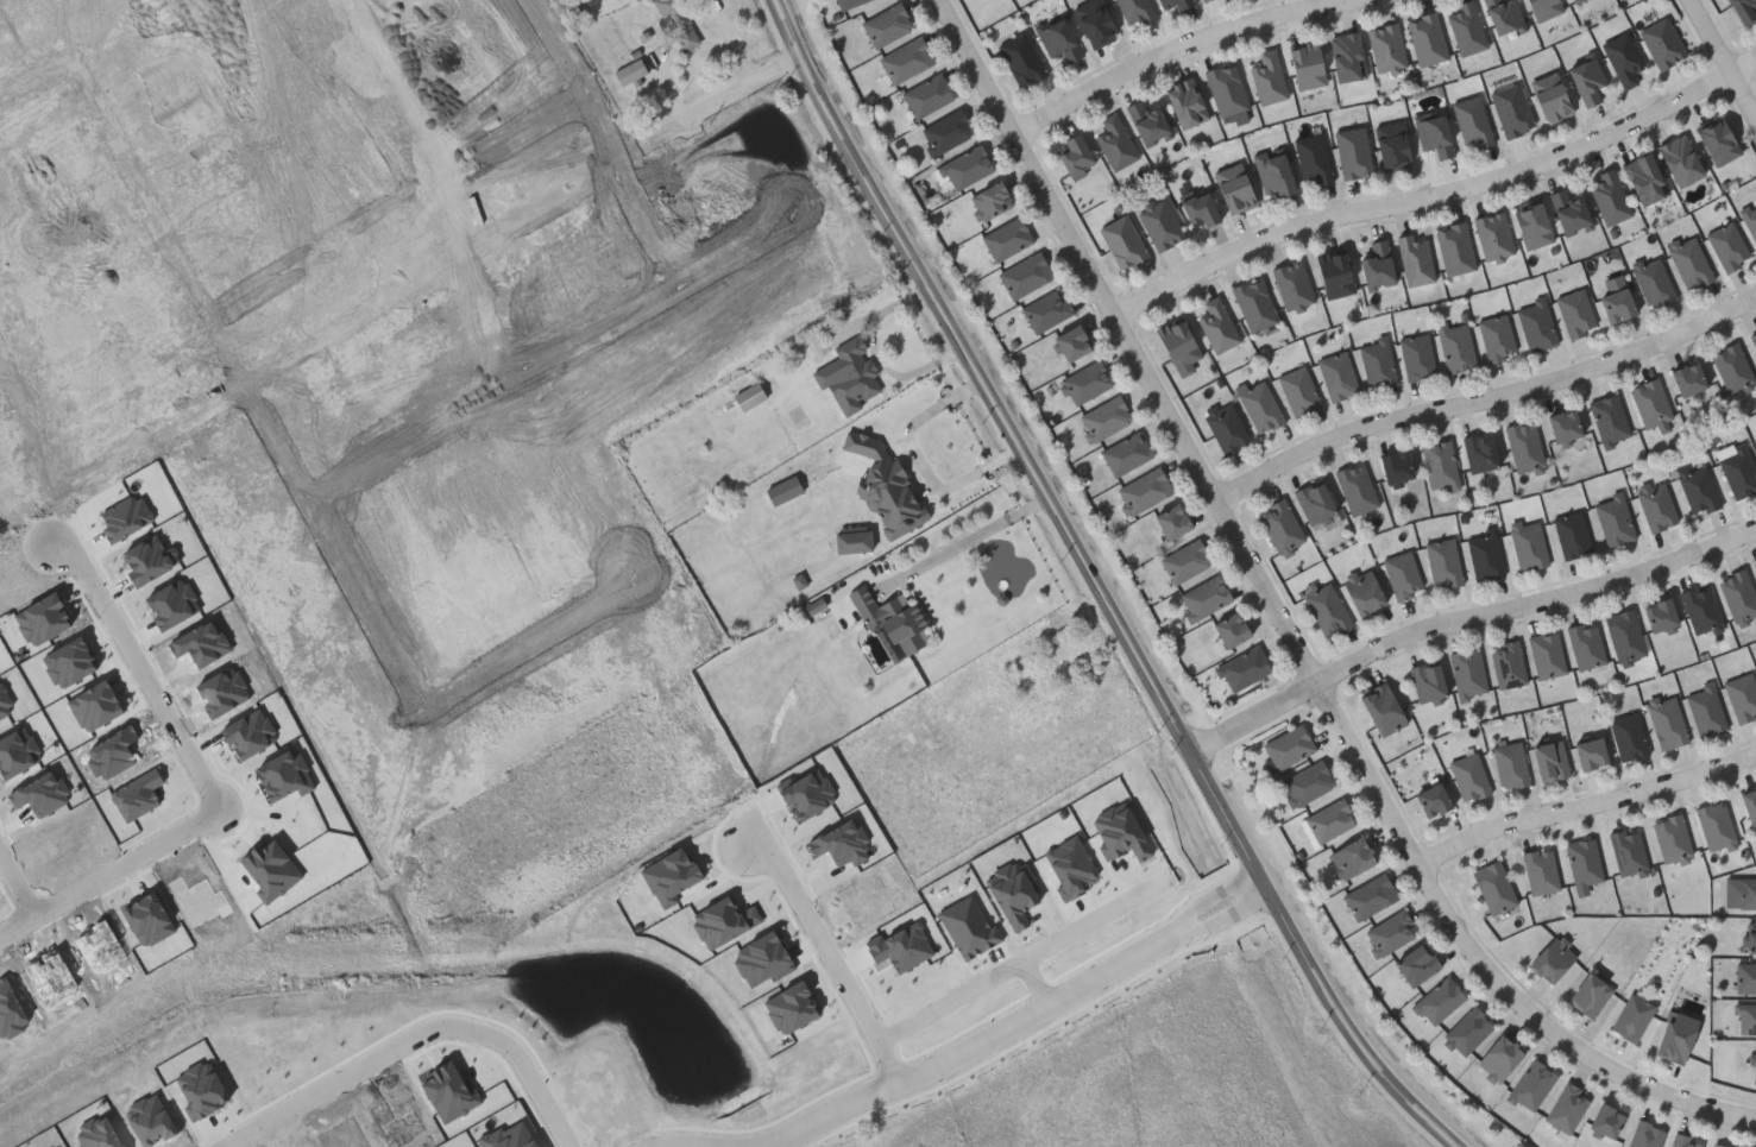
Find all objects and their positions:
building: (1208, 0)
building: (1574, 1)
building: (845, 4)
building: (1172, 5)
building: (1544, 8)
building: (1743, 10)
building: (1135, 11)
building: (1503, 15)
building: (1095, 23)
building: (682, 25)
building: (887, 25)
building: (1466, 29)
building: (1427, 39)
building: (1058, 40)
building: (1662, 43)
building: (1386, 48)
road: (1175, 49)
building: (1346, 57)
building: (1021, 59)
building: (1623, 59)
road: (1723, 59)
building: (906, 61)
building: (1305, 65)
building: (634, 75)
building: (1267, 78)
building: (555, 81)
building: (1587, 81)
road: (355, 89)
building: (1227, 89)
building: (926, 95)
building: (1550, 97)
building: (1185, 103)
building: (1511, 111)
building: (548, 121)
building: (1472, 122)
building: (1147, 124)
building: (946, 133)
building: (1434, 136)
building: (1115, 143)
building: (1717, 143)
road: (605, 145)
building: (1392, 146)
building: (1353, 152)
building: (1075, 157)
building: (1313, 159)
building: (1680, 162)
building: (967, 168)
building: (1273, 172)
building: (756, 178)
building: (1644, 179)
building: (1234, 188)
road: (1436, 191)
building: (1609, 197)
building: (989, 202)
road: (398, 206)
building: (1198, 210)
building: (1569, 212)
building: (1750, 221)
building: (1159, 223)
building: (1531, 226)
building: (1493, 237)
building: (1007, 239)
building: (1122, 242)
building: (1727, 247)
building: (1454, 250)
building: (1415, 260)
building: (622, 261)
building: (1689, 263)
building: (1377, 265)
building: (1025, 275)
building: (1334, 275)
building: (687, 279)
building: (1651, 282)
building: (1294, 285)
building: (1254, 304)
building: (1617, 307)
building: (89, 309)
building: (1046, 310)
building: (1575, 314)
building: (1216, 326)
building: (1536, 326)
building: (1497, 338)
building: (1754, 339)
building: (1071, 344)
building: (1178, 347)
building: (1456, 347)
road: (229, 352)
road: (549, 354)
road: (879, 355)
building: (1416, 357)
building: (1377, 364)
building: (1731, 368)
building: (1336, 376)
building: (1687, 380)
building: (855, 382)
building: (1085, 383)
building: (69, 385)
building: (1298, 391)
building: (753, 399)
road: (1485, 399)
building: (1650, 404)
building: (1260, 407)
building: (1104, 418)
building: (1609, 420)
building: (1562, 426)
building: (1226, 427)
building: (1524, 446)
road: (149, 447)
building: (1479, 452)
building: (1126, 454)
building: (1440, 465)
building: (1395, 467)
building: (1737, 472)
building: (1357, 489)
building: (1698, 490)
building: (889, 492)
building: (1144, 492)
building: (786, 494)
building: (1314, 503)
building: (1656, 506)
building: (1613, 519)
building: (1171, 523)
building: (1280, 528)
building: (1571, 535)
road: (968, 540)
building: (856, 546)
building: (1528, 546)
building: (21, 549)
building: (1485, 557)
building: (1184, 562)
building: (1443, 563)
building: (1755, 566)
building: (1402, 575)
road: (1097, 587)
road: (95, 588)
building: (1362, 592)
building: (1738, 597)
building: (1204, 598)
building: (1700, 610)
building: (1327, 611)
building: (1659, 616)
road: (1464, 618)
building: (896, 623)
road: (1284, 623)
building: (1231, 631)
building: (1624, 636)
building: (1585, 645)
road: (527, 647)
building: (1547, 655)
building: (1508, 666)
building: (1242, 669)
building: (1468, 673)
building: (1427, 682)
building: (1742, 697)
building: (1381, 711)
building: (1705, 711)
building: (1666, 724)
building: (1628, 737)
building: (1288, 748)
building: (1590, 755)
building: (1549, 761)
building: (1510, 765)
building: (1468, 776)
building: (1308, 784)
building: (1431, 802)
road: (1585, 803)
building: (1749, 805)
building: (1329, 821)
building: (1714, 826)
building: (1672, 839)
building: (1628, 852)
building: (1349, 858)
building: (1584, 862)
building: (1540, 871)
road: (111, 872)
building: (1493, 888)
road: (14, 893)
building: (1748, 893)
building: (1370, 896)
building: (1389, 932)
building: (1751, 937)
road: (841, 956)
building: (1553, 958)
road: (1026, 960)
building: (1416, 964)
building: (1745, 977)
road: (1047, 982)
building: (1588, 994)
building: (1439, 1000)
building: (1632, 1016)
building: (1746, 1017)
road: (1025, 1027)
building: (1467, 1031)
building: (1675, 1036)
building: (1498, 1058)
building: (1754, 1061)
road: (365, 1071)
building: (1531, 1085)
road: (540, 1094)
building: (1567, 1107)
building: (1605, 1120)
building: (1645, 1135)
building: (1683, 1141)
building: (1720, 1145)

